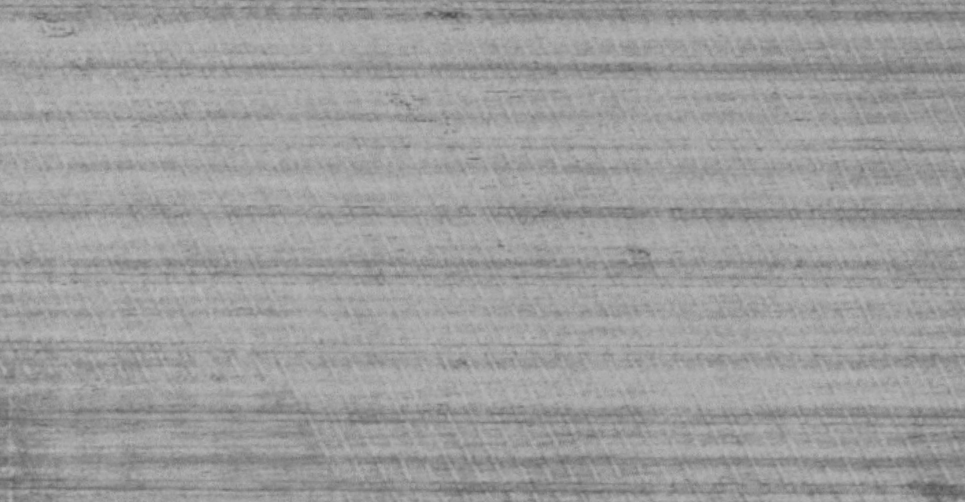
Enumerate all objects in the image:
crop: (482, 251)

